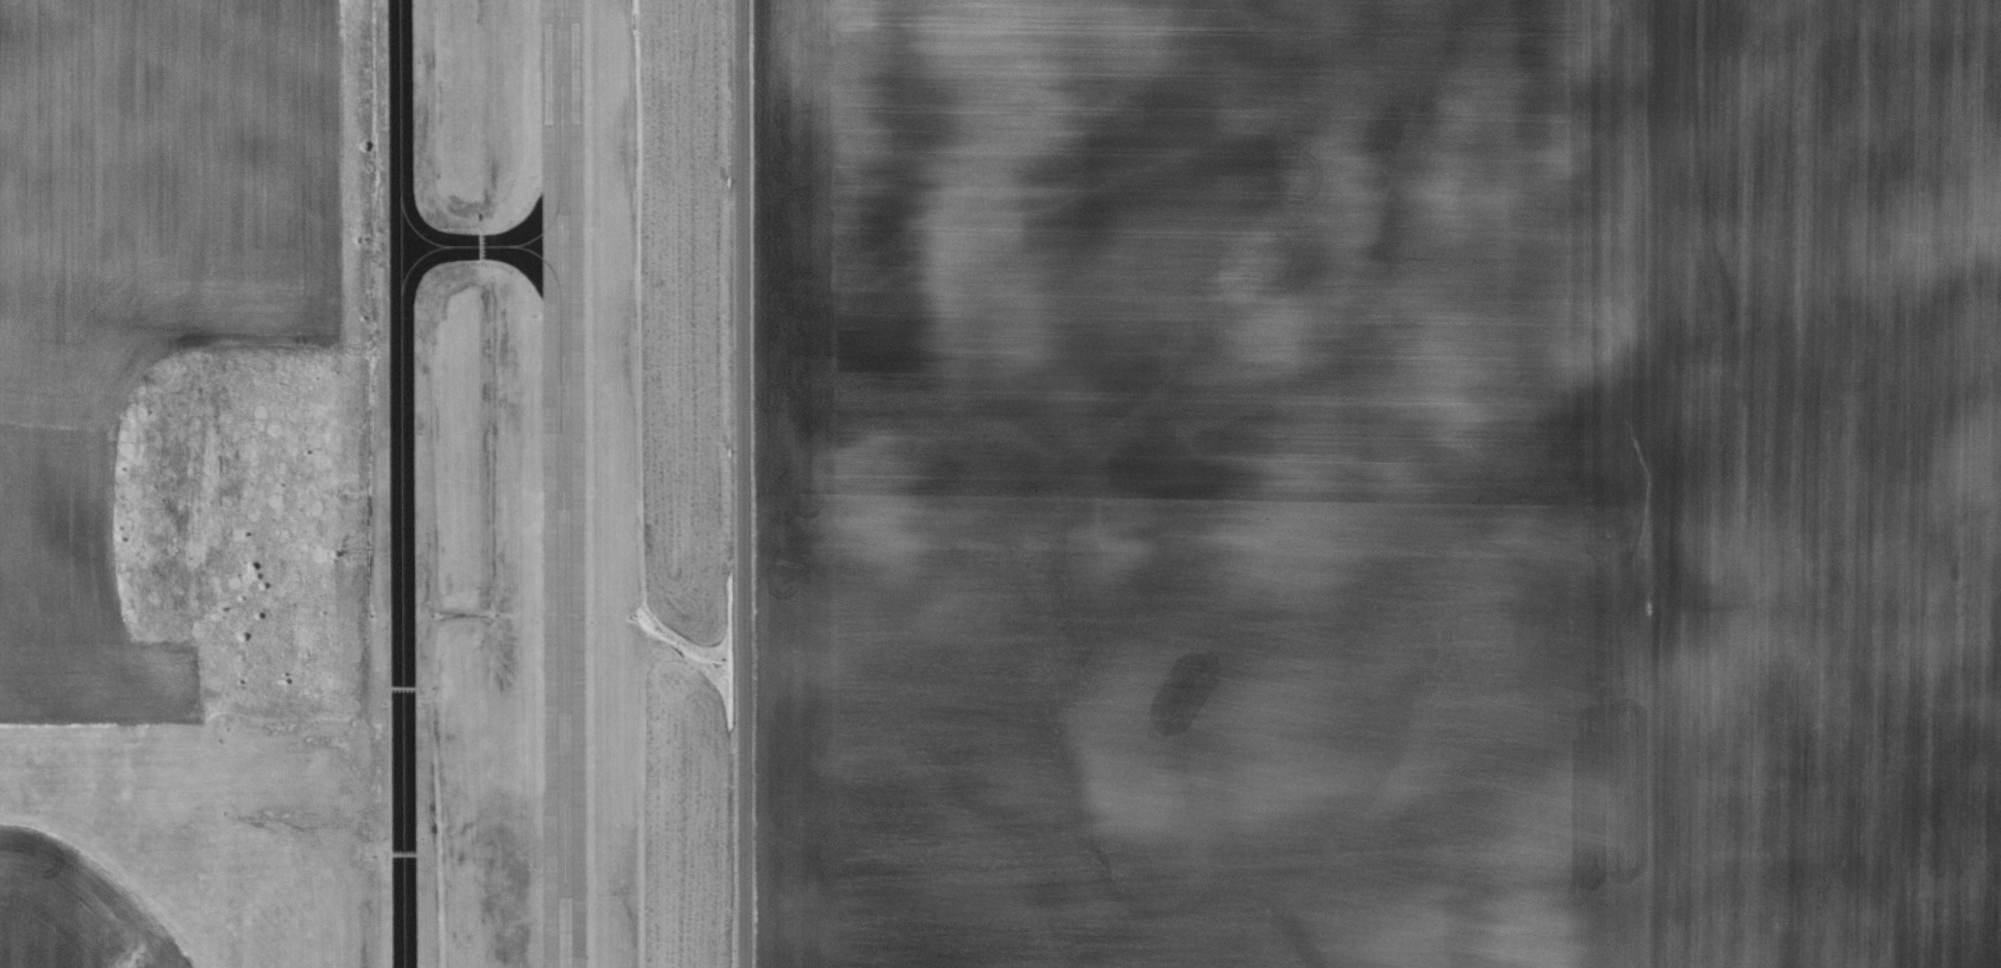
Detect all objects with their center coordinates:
airport taxiway: (481, 246)
airport taxiway: (401, 484)
airport runway: (563, 484)
road: (743, 484)
airport: (402, 542)
airport taxiway: (311, 772)
airport runway: (109, 774)

